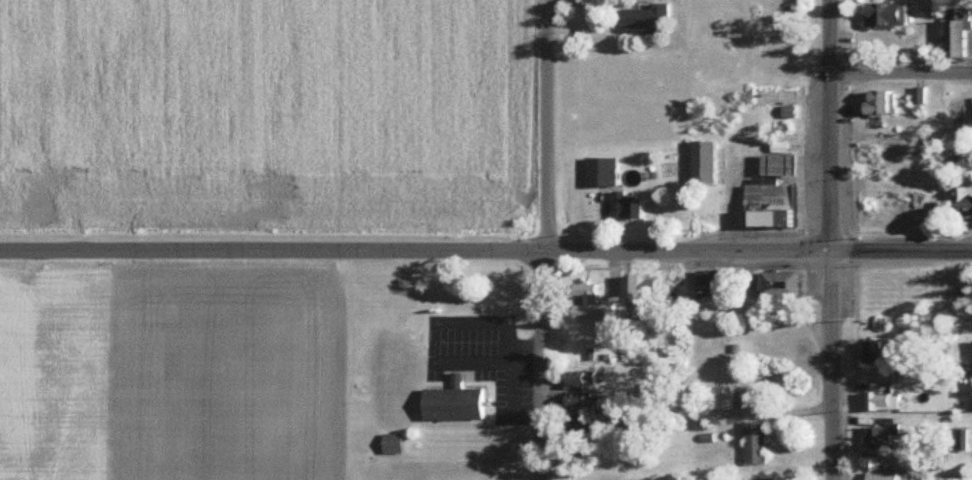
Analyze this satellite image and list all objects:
building: (896, 13)
building: (648, 16)
building: (962, 32)
road: (901, 76)
building: (923, 94)
building: (751, 97)
building: (886, 102)
building: (793, 110)
road: (549, 127)
building: (900, 149)
building: (788, 160)
building: (711, 161)
building: (605, 171)
building: (968, 199)
building: (629, 205)
building: (777, 206)
road: (831, 240)
road: (274, 255)
road: (690, 255)
road: (901, 255)
building: (711, 283)
building: (793, 284)
building: (641, 289)
building: (597, 305)
building: (895, 352)
road: (547, 367)
building: (589, 378)
building: (728, 398)
building: (585, 399)
building: (462, 401)
building: (591, 437)
building: (885, 441)
building: (397, 442)
building: (760, 442)
building: (889, 475)

